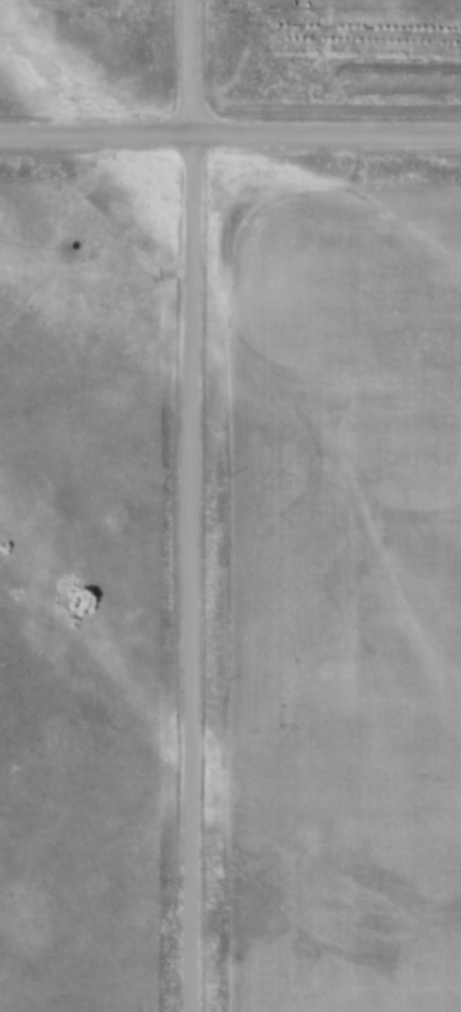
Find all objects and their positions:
road: (230, 135)
road: (189, 505)

